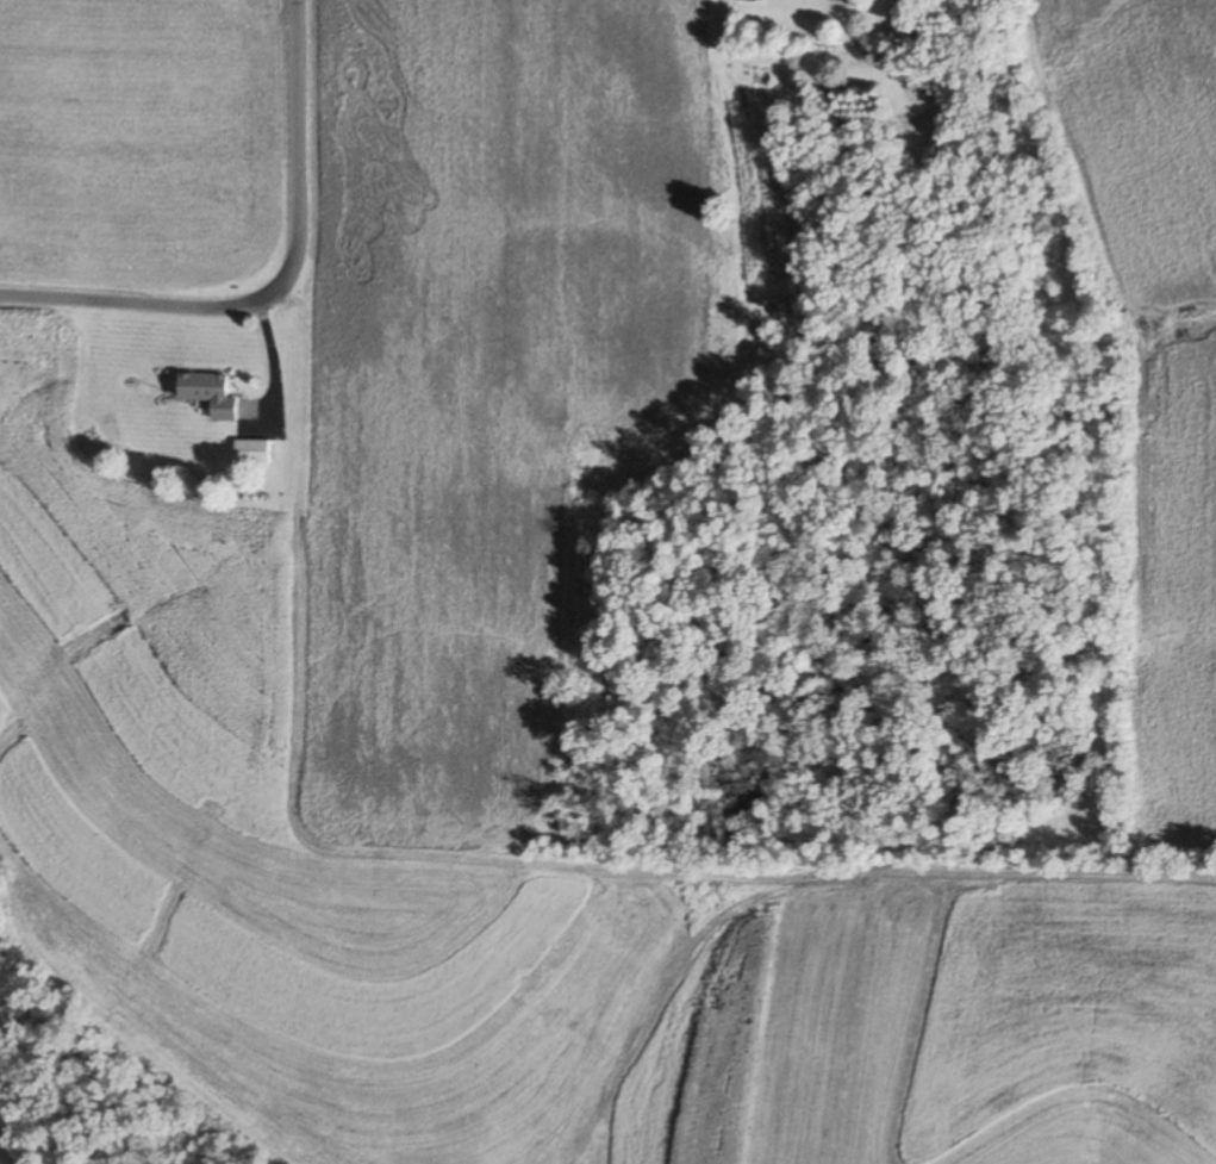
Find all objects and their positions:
building: (750, 0)
road: (282, 285)
building: (207, 393)
building: (250, 452)

